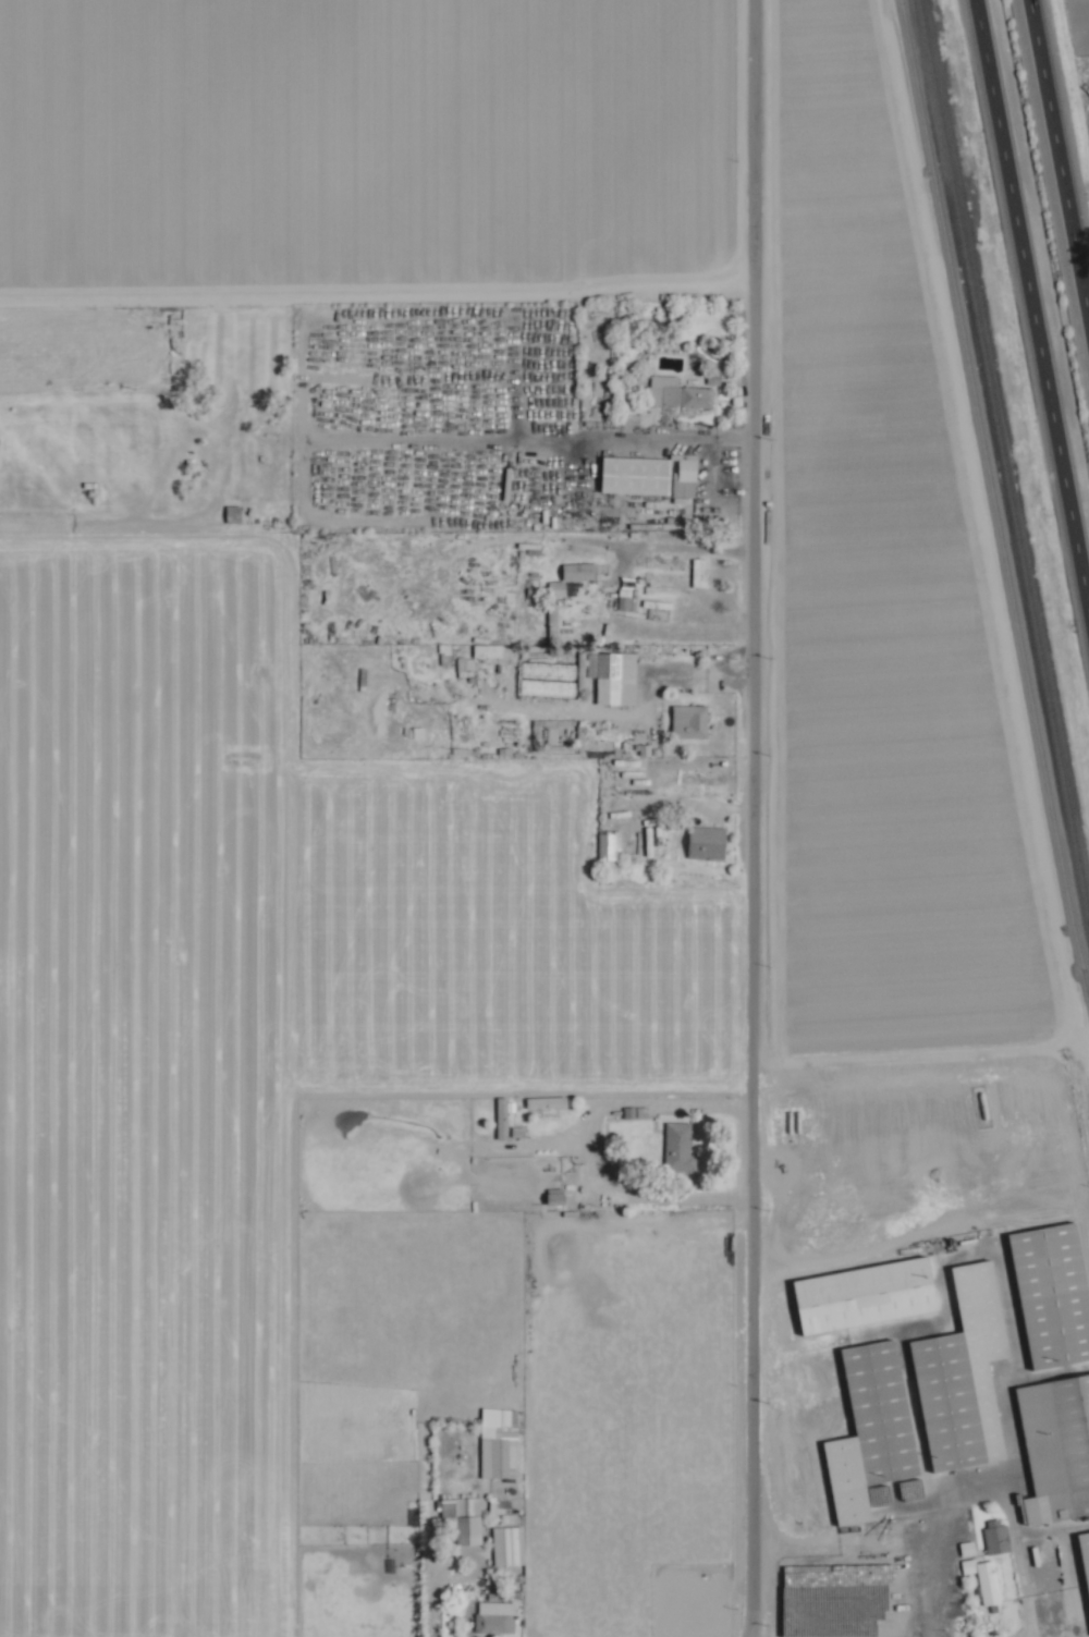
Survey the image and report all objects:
road: (1061, 146)
road: (1035, 290)
building: (689, 392)
railway: (1004, 454)
road: (707, 469)
building: (650, 474)
railway: (991, 492)
building: (233, 512)
road: (644, 545)
building: (580, 570)
building: (699, 571)
building: (558, 586)
building: (488, 649)
building: (466, 662)
road: (678, 671)
building: (615, 676)
building: (692, 720)
road: (744, 818)
building: (708, 842)
building: (610, 843)
building: (1052, 1295)
building: (861, 1296)
building: (963, 1376)
building: (868, 1432)
building: (1055, 1447)
building: (476, 1526)
building: (992, 1536)
building: (1077, 1578)
building: (979, 1579)
building: (490, 1623)

